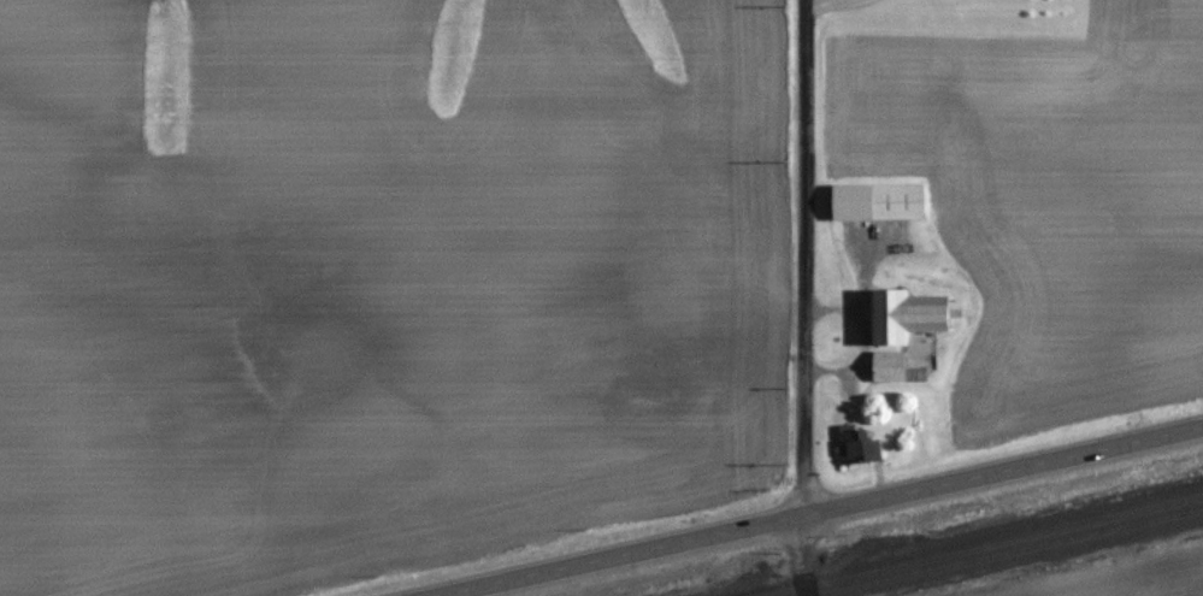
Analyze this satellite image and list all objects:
crop: (1050, 196)
crop: (367, 279)
road: (802, 297)
road: (857, 302)
road: (853, 361)
road: (825, 512)
railway: (975, 545)
railway: (1006, 553)
crop: (1137, 582)

